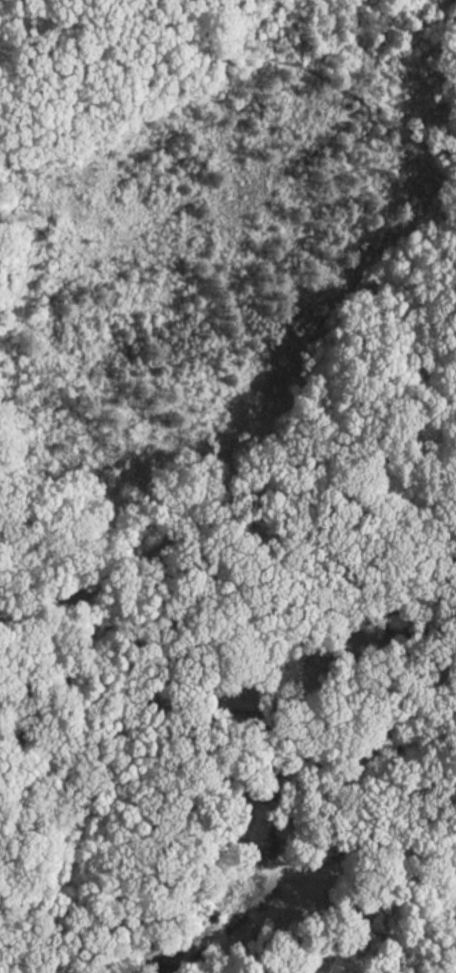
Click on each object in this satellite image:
road: (230, 59)
park: (228, 234)

